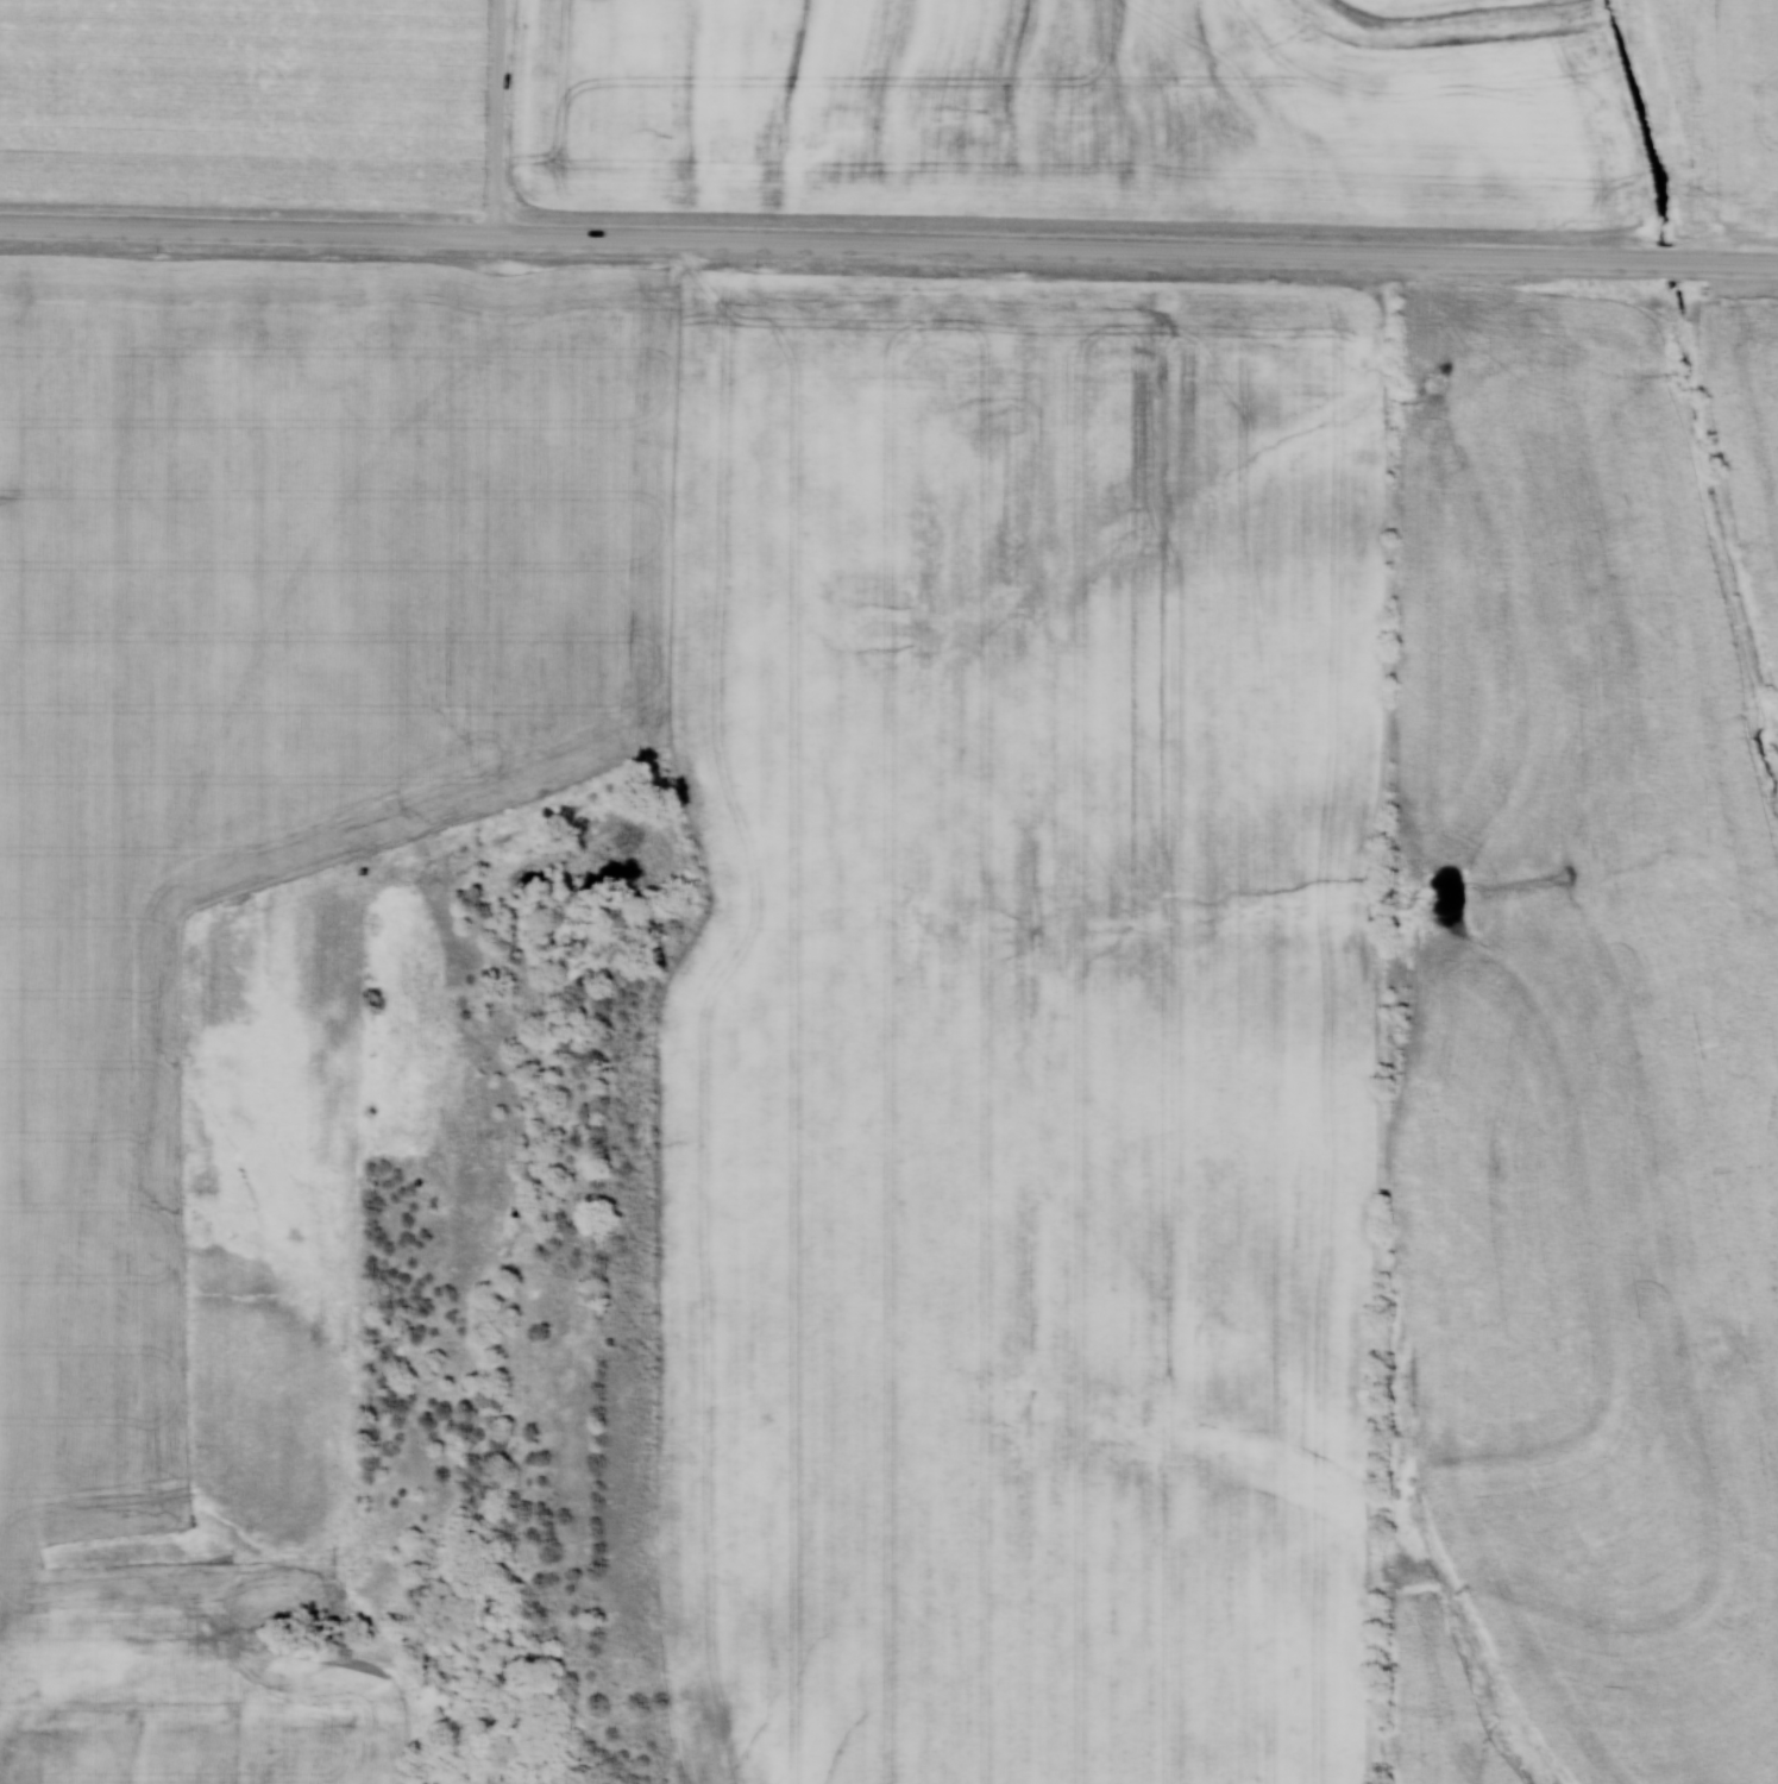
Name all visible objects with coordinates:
road: (500, 119)
road: (888, 246)

